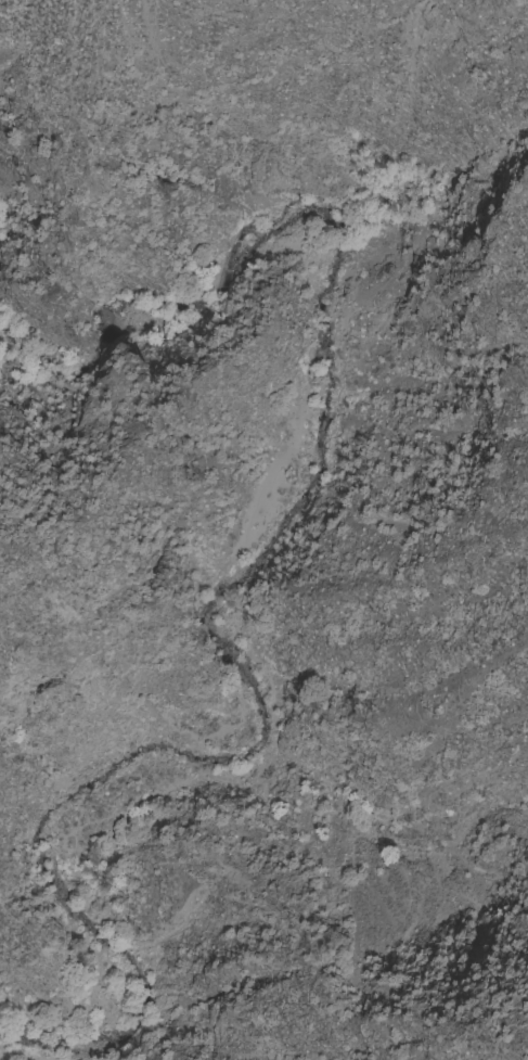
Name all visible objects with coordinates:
road: (217, 629)

